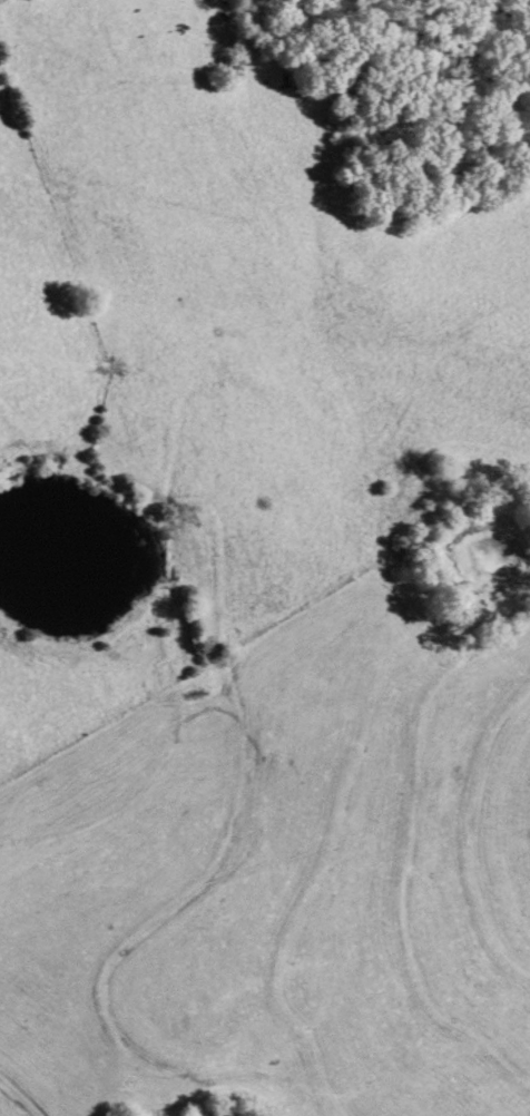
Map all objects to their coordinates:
road: (19, 1097)

